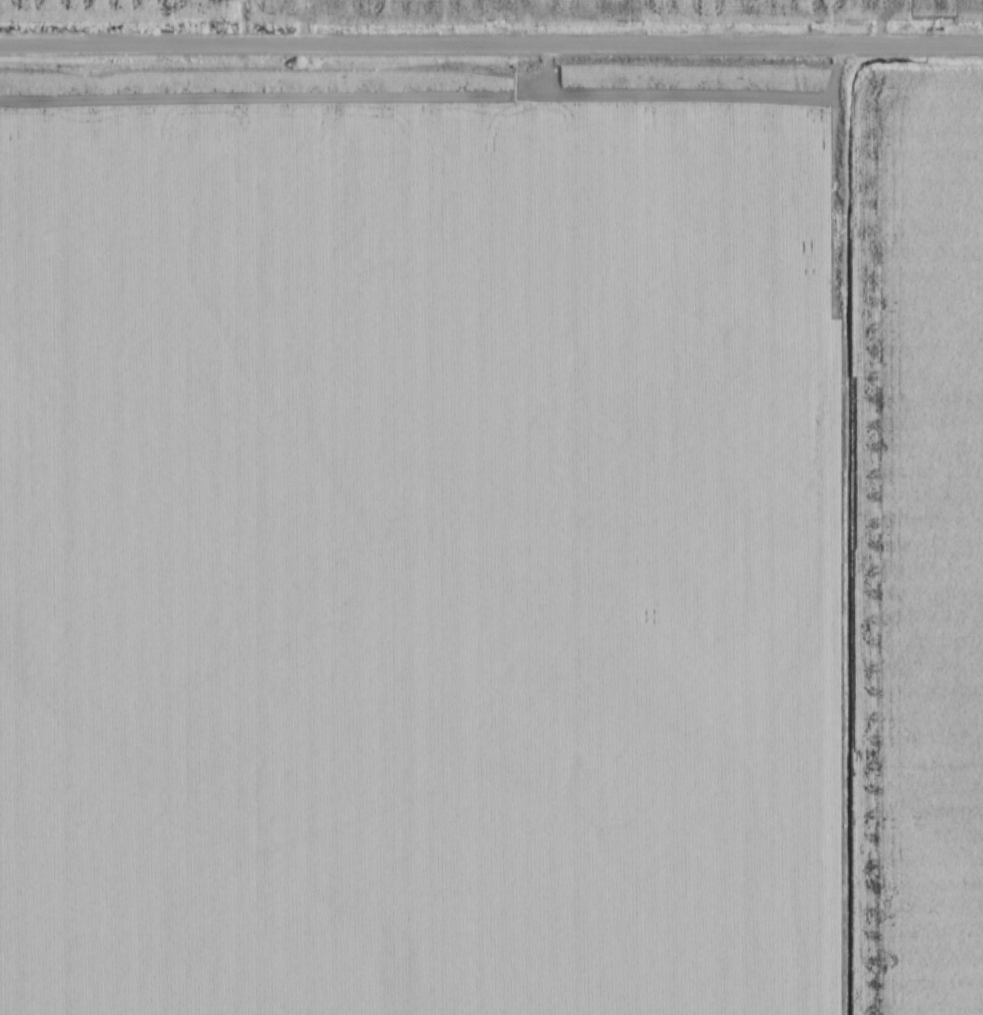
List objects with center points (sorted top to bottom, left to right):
crop: (971, 2)
crop: (646, 3)
road: (491, 46)
crop: (491, 541)

